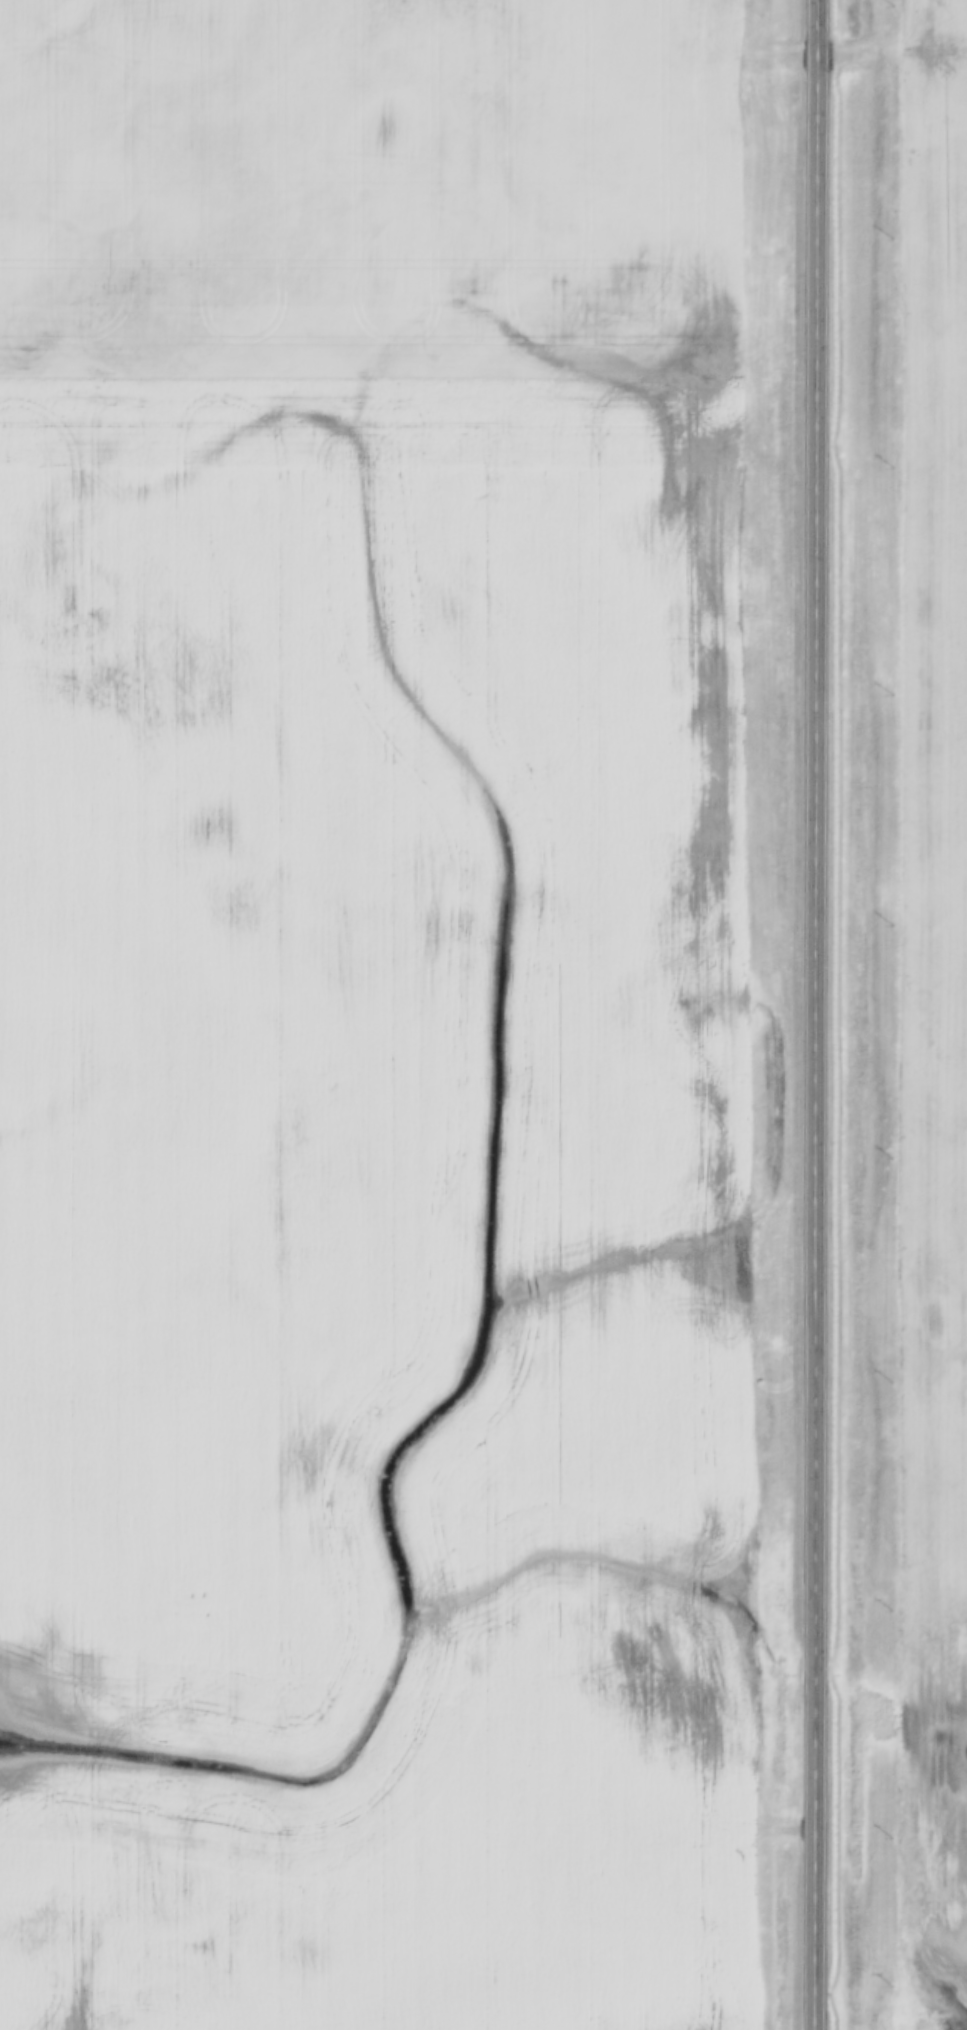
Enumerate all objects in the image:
road: (819, 1015)

